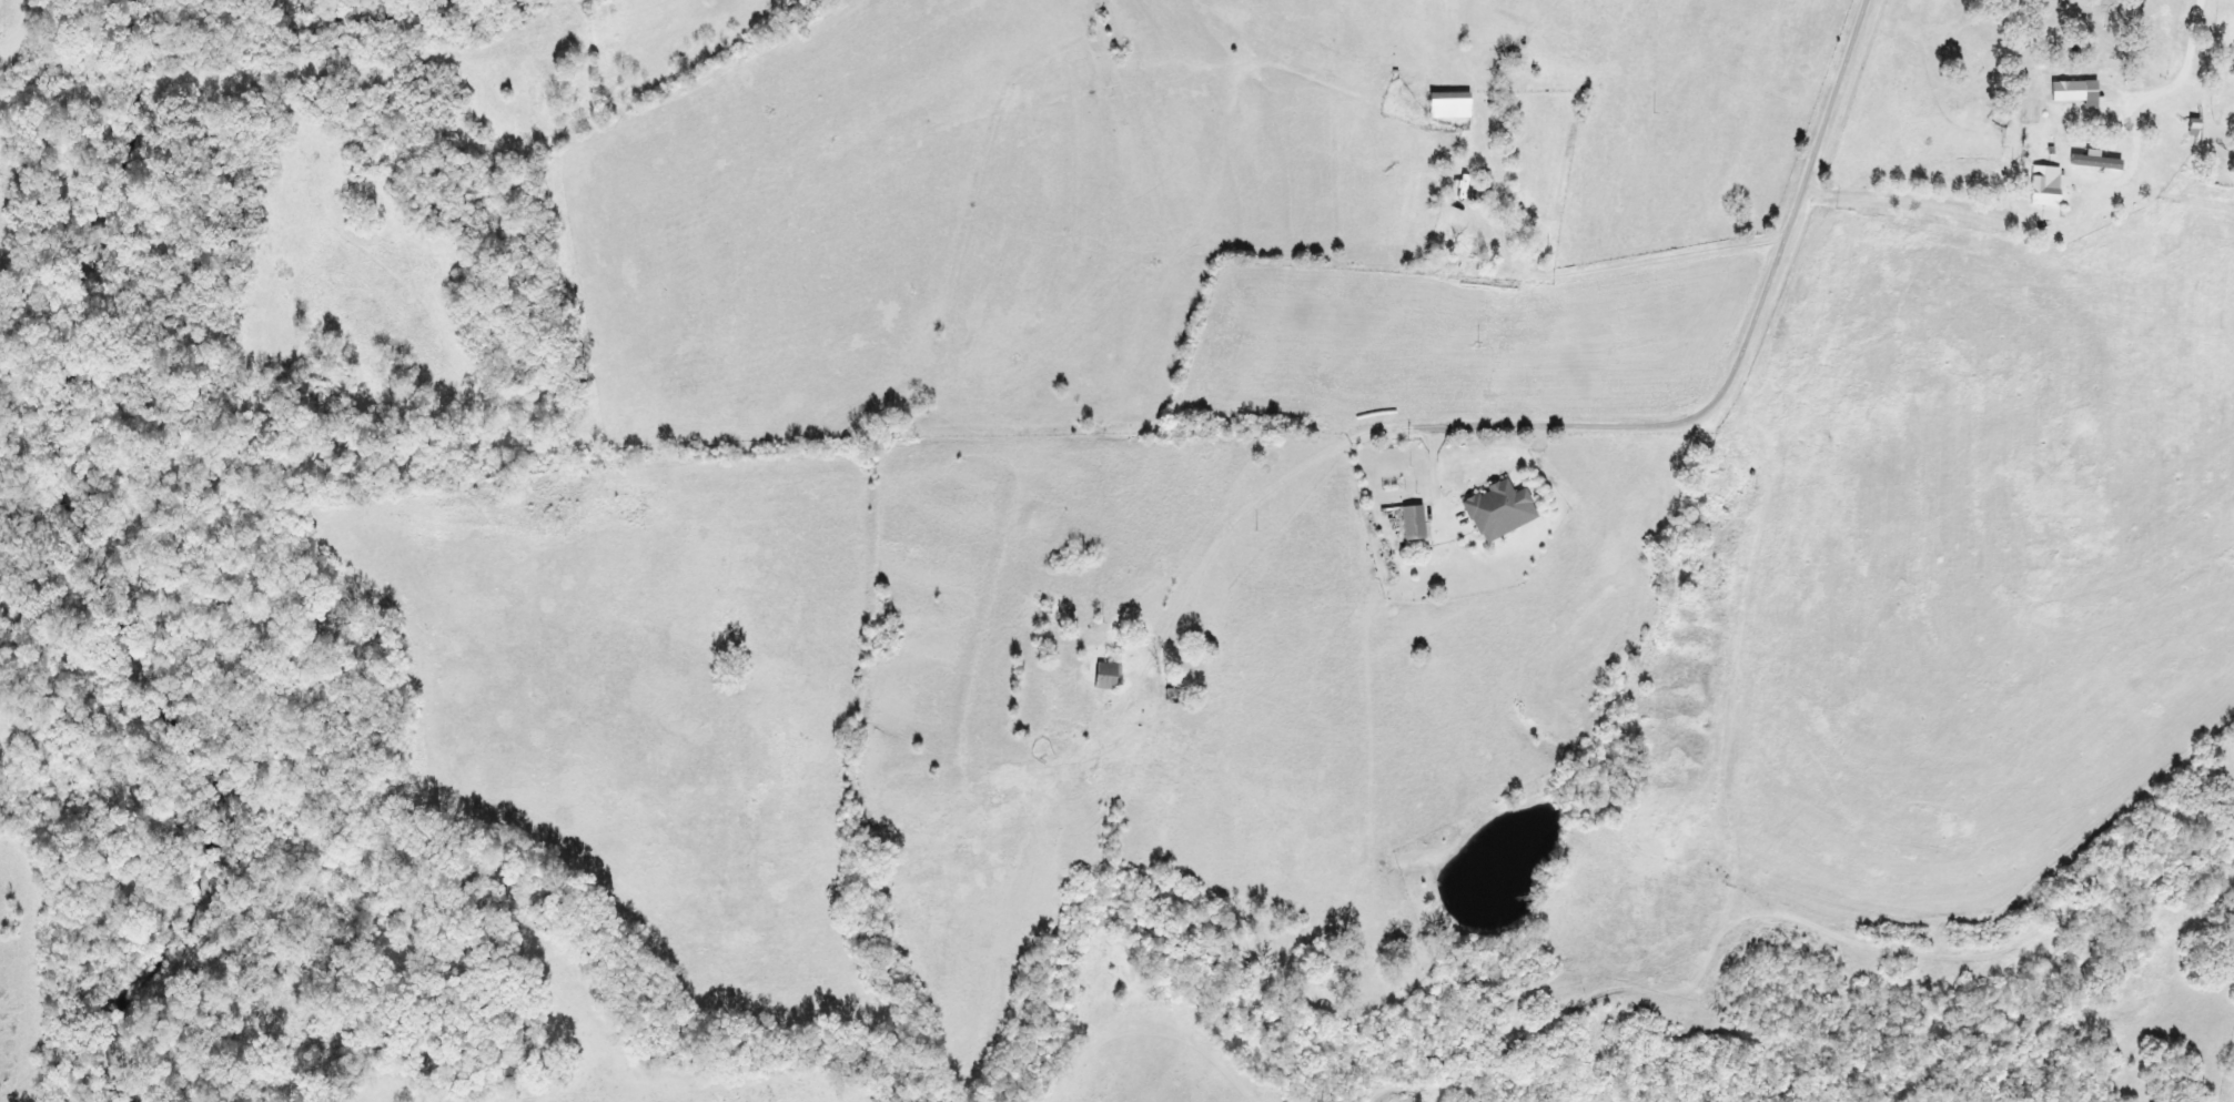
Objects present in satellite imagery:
building: (2076, 91)
building: (1449, 104)
building: (2182, 122)
building: (2045, 185)
building: (1477, 235)
road: (1603, 422)
building: (1492, 507)
building: (1413, 522)
building: (1105, 676)
building: (1172, 687)

